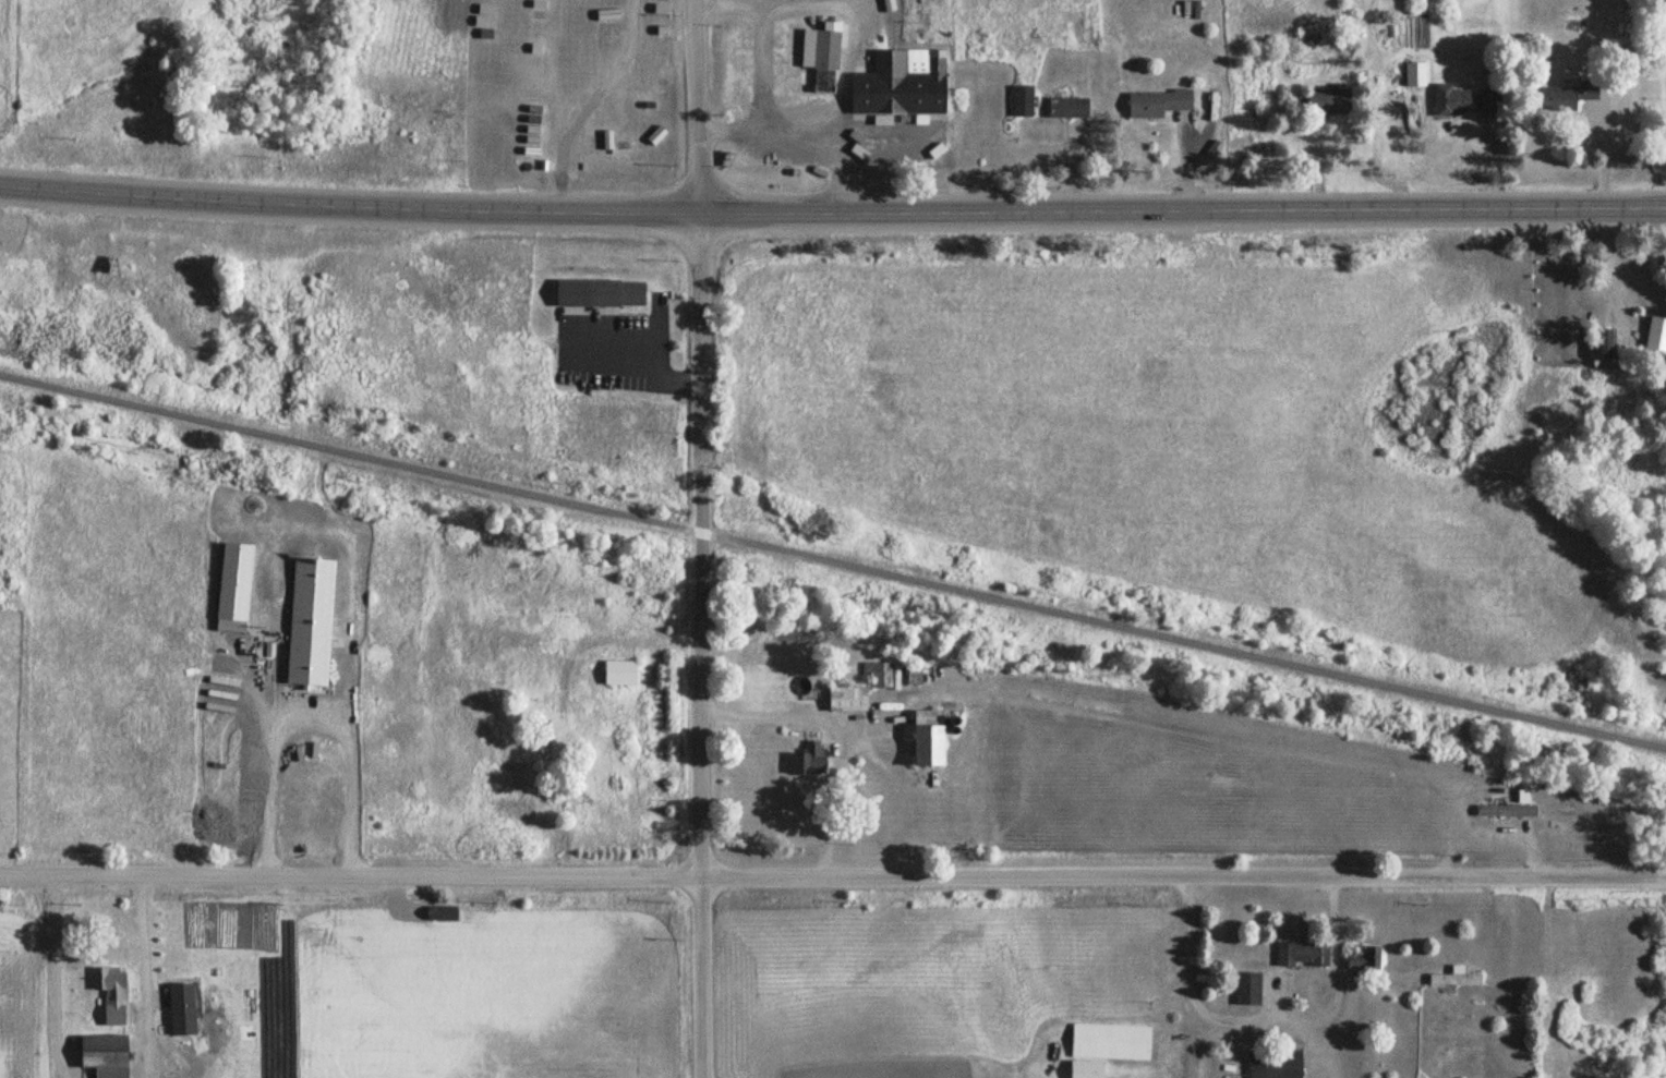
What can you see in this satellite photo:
building: (819, 57)
road: (700, 68)
building: (531, 73)
building: (1415, 74)
building: (897, 85)
building: (1561, 97)
building: (1022, 101)
building: (1457, 101)
building: (1333, 102)
building: (1156, 104)
building: (1067, 108)
road: (701, 197)
road: (832, 214)
building: (613, 293)
building: (1649, 338)
building: (1603, 343)
road: (701, 356)
road: (702, 522)
road: (833, 565)
building: (616, 674)
building: (895, 675)
building: (843, 700)
building: (920, 739)
building: (809, 761)
building: (1504, 810)
road: (703, 835)
road: (832, 877)
building: (1303, 955)
building: (1360, 960)
building: (1453, 979)
building: (111, 989)
building: (1247, 989)
building: (1109, 1042)
building: (100, 1055)
building: (1276, 1065)
building: (1084, 1069)

